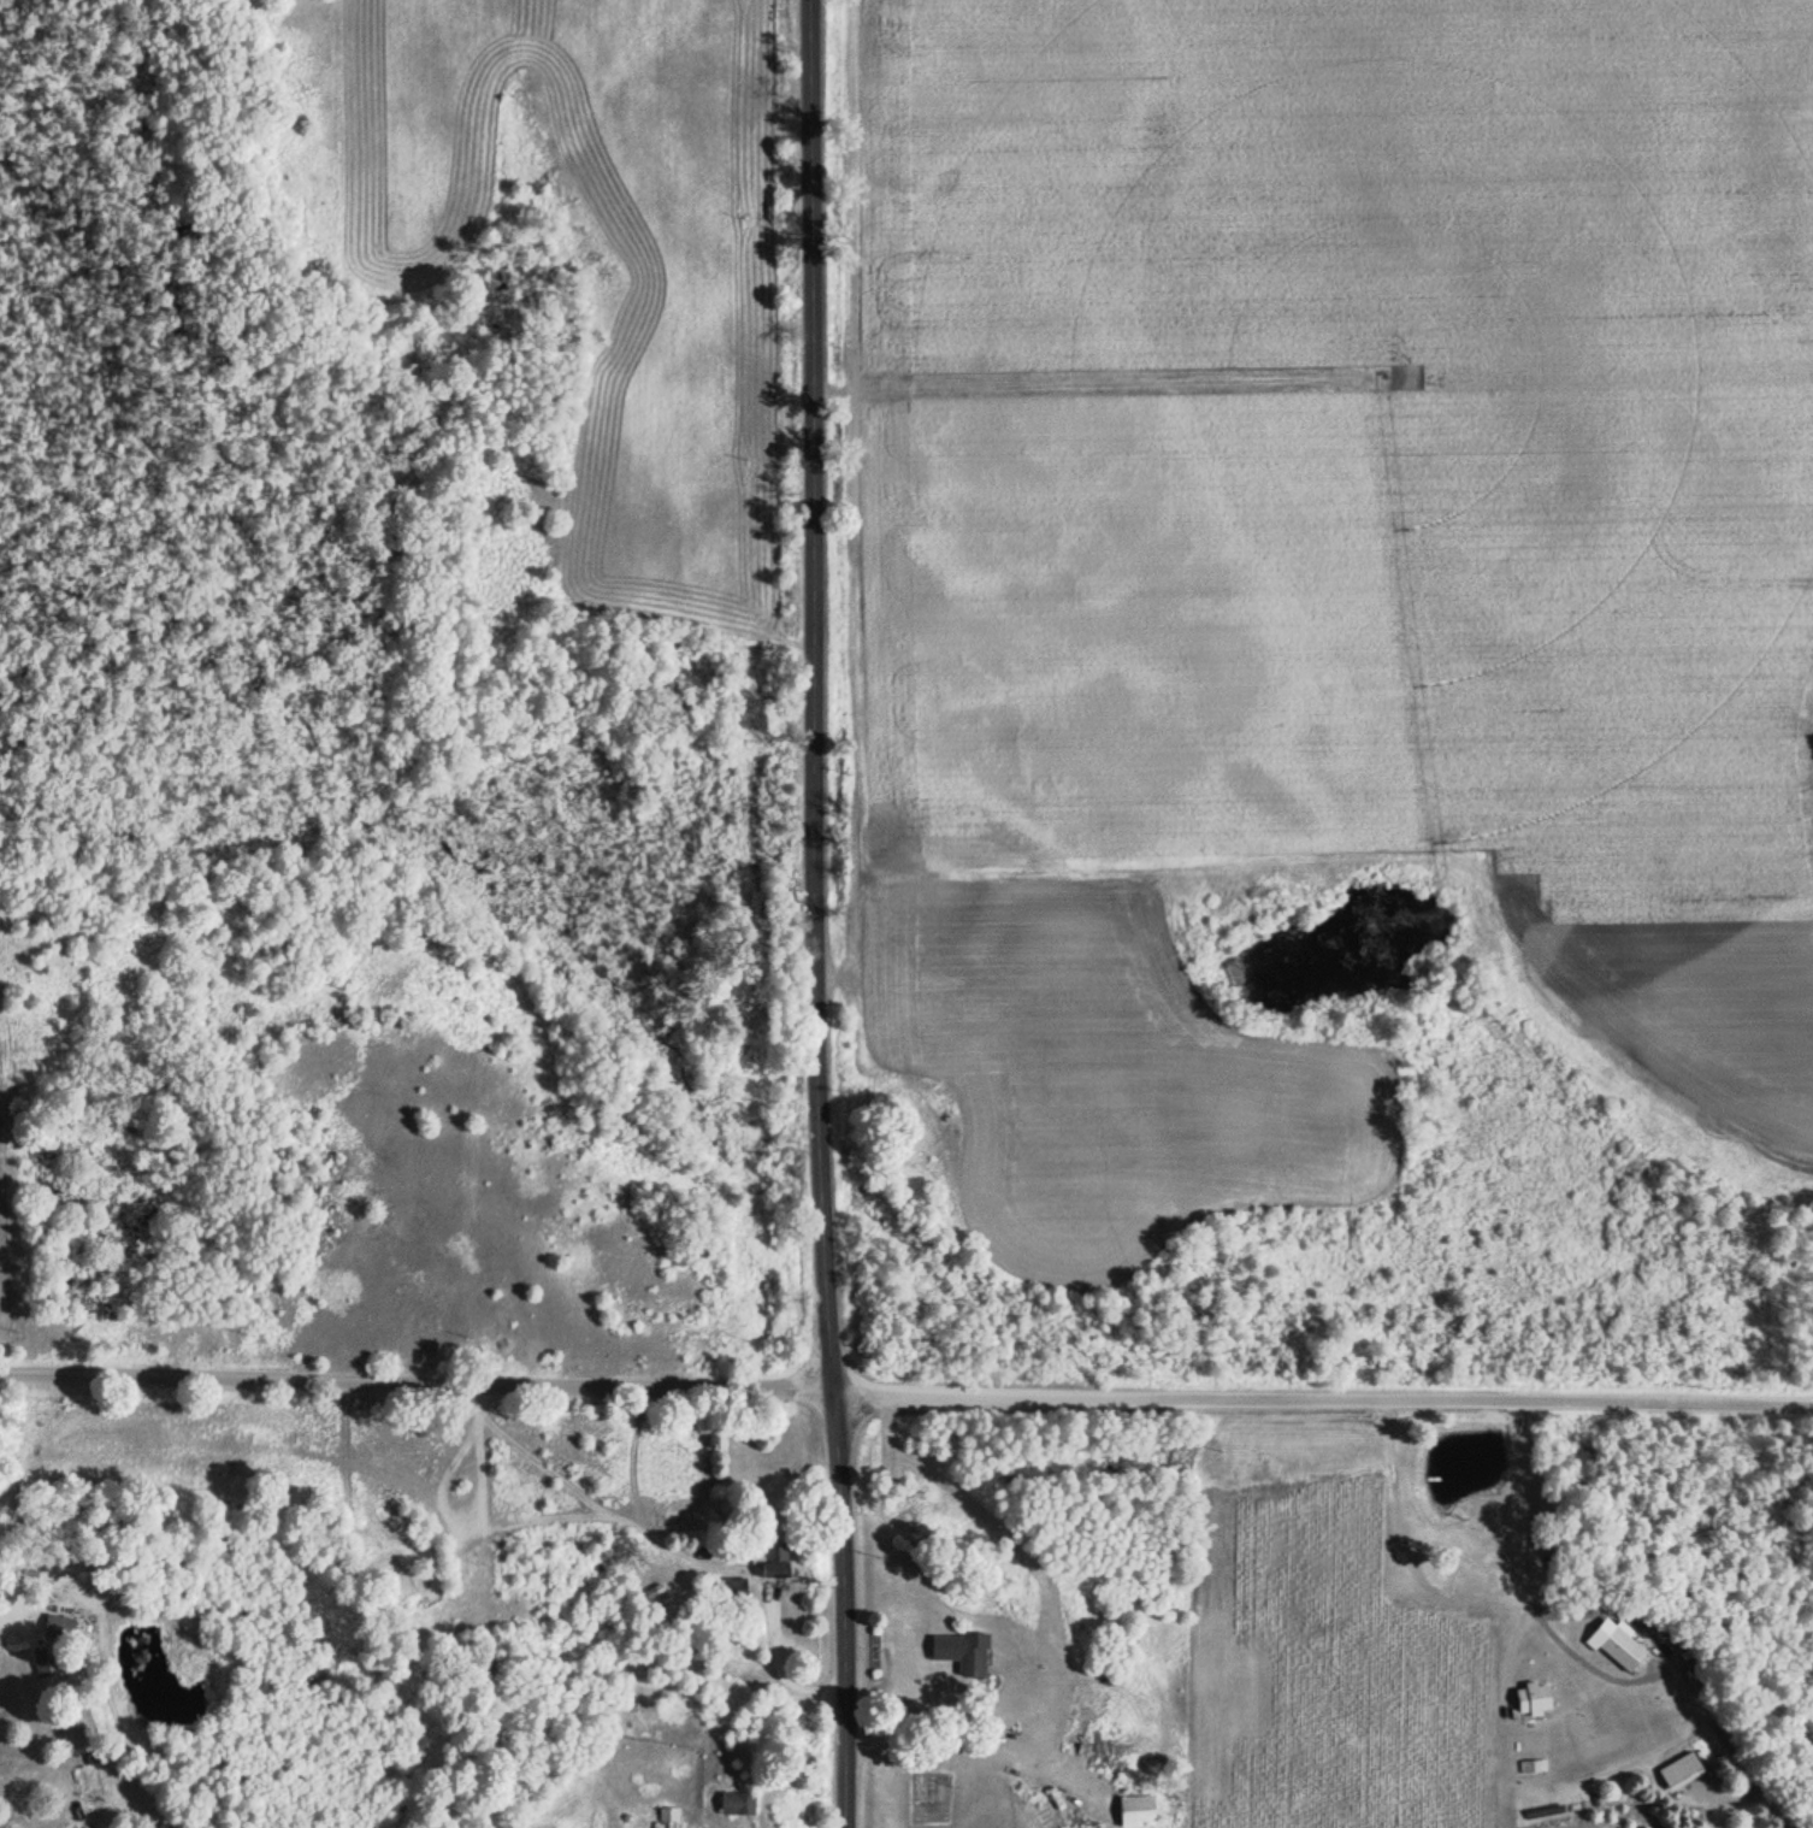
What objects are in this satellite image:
crop: (1321, 558)
road: (817, 914)
road: (905, 1393)
building: (772, 1559)
building: (726, 1588)
building: (64, 1627)
building: (1618, 1651)
building: (956, 1652)
building: (53, 1670)
building: (1537, 1697)
building: (1525, 1768)
building: (733, 1805)
building: (1127, 1810)

